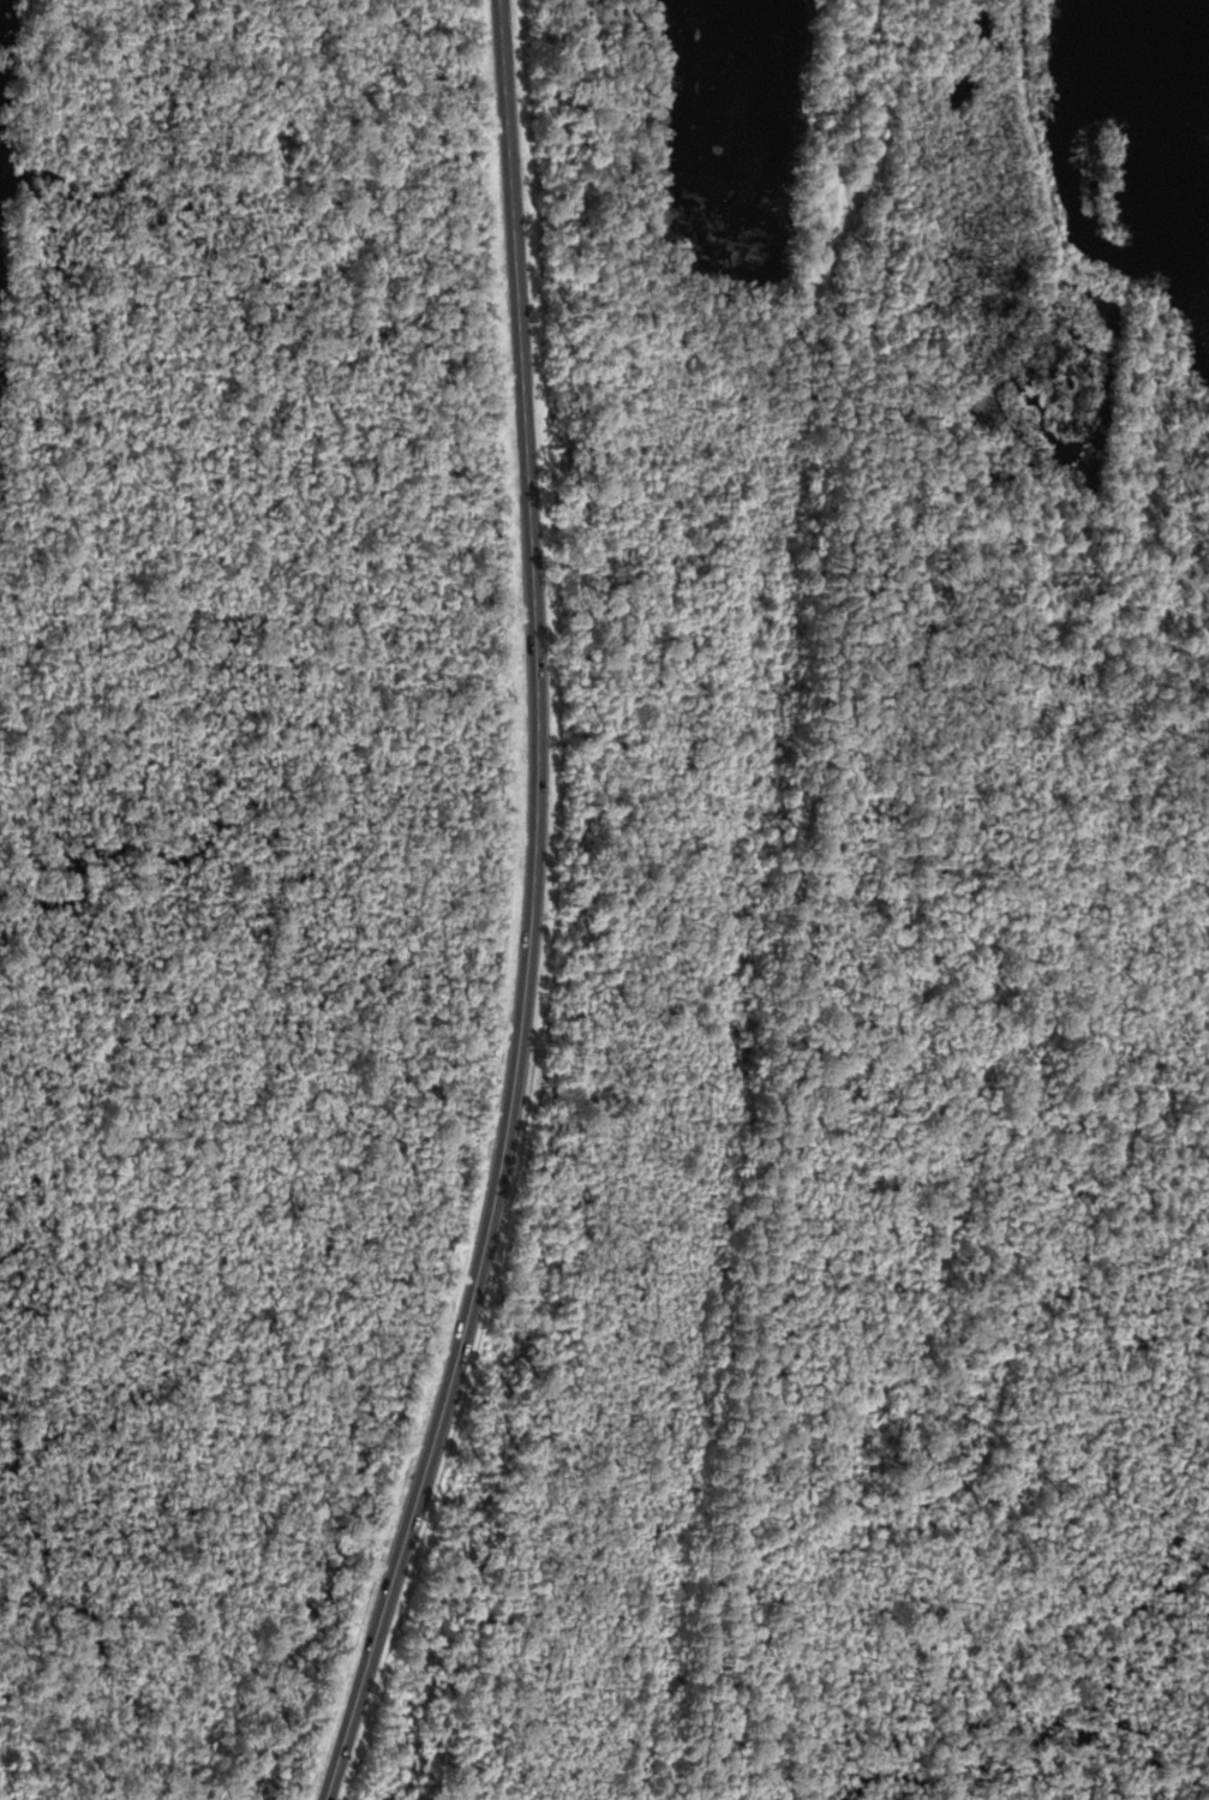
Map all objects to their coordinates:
park: (705, 165)
road: (1057, 234)
road: (746, 303)
road: (527, 911)

